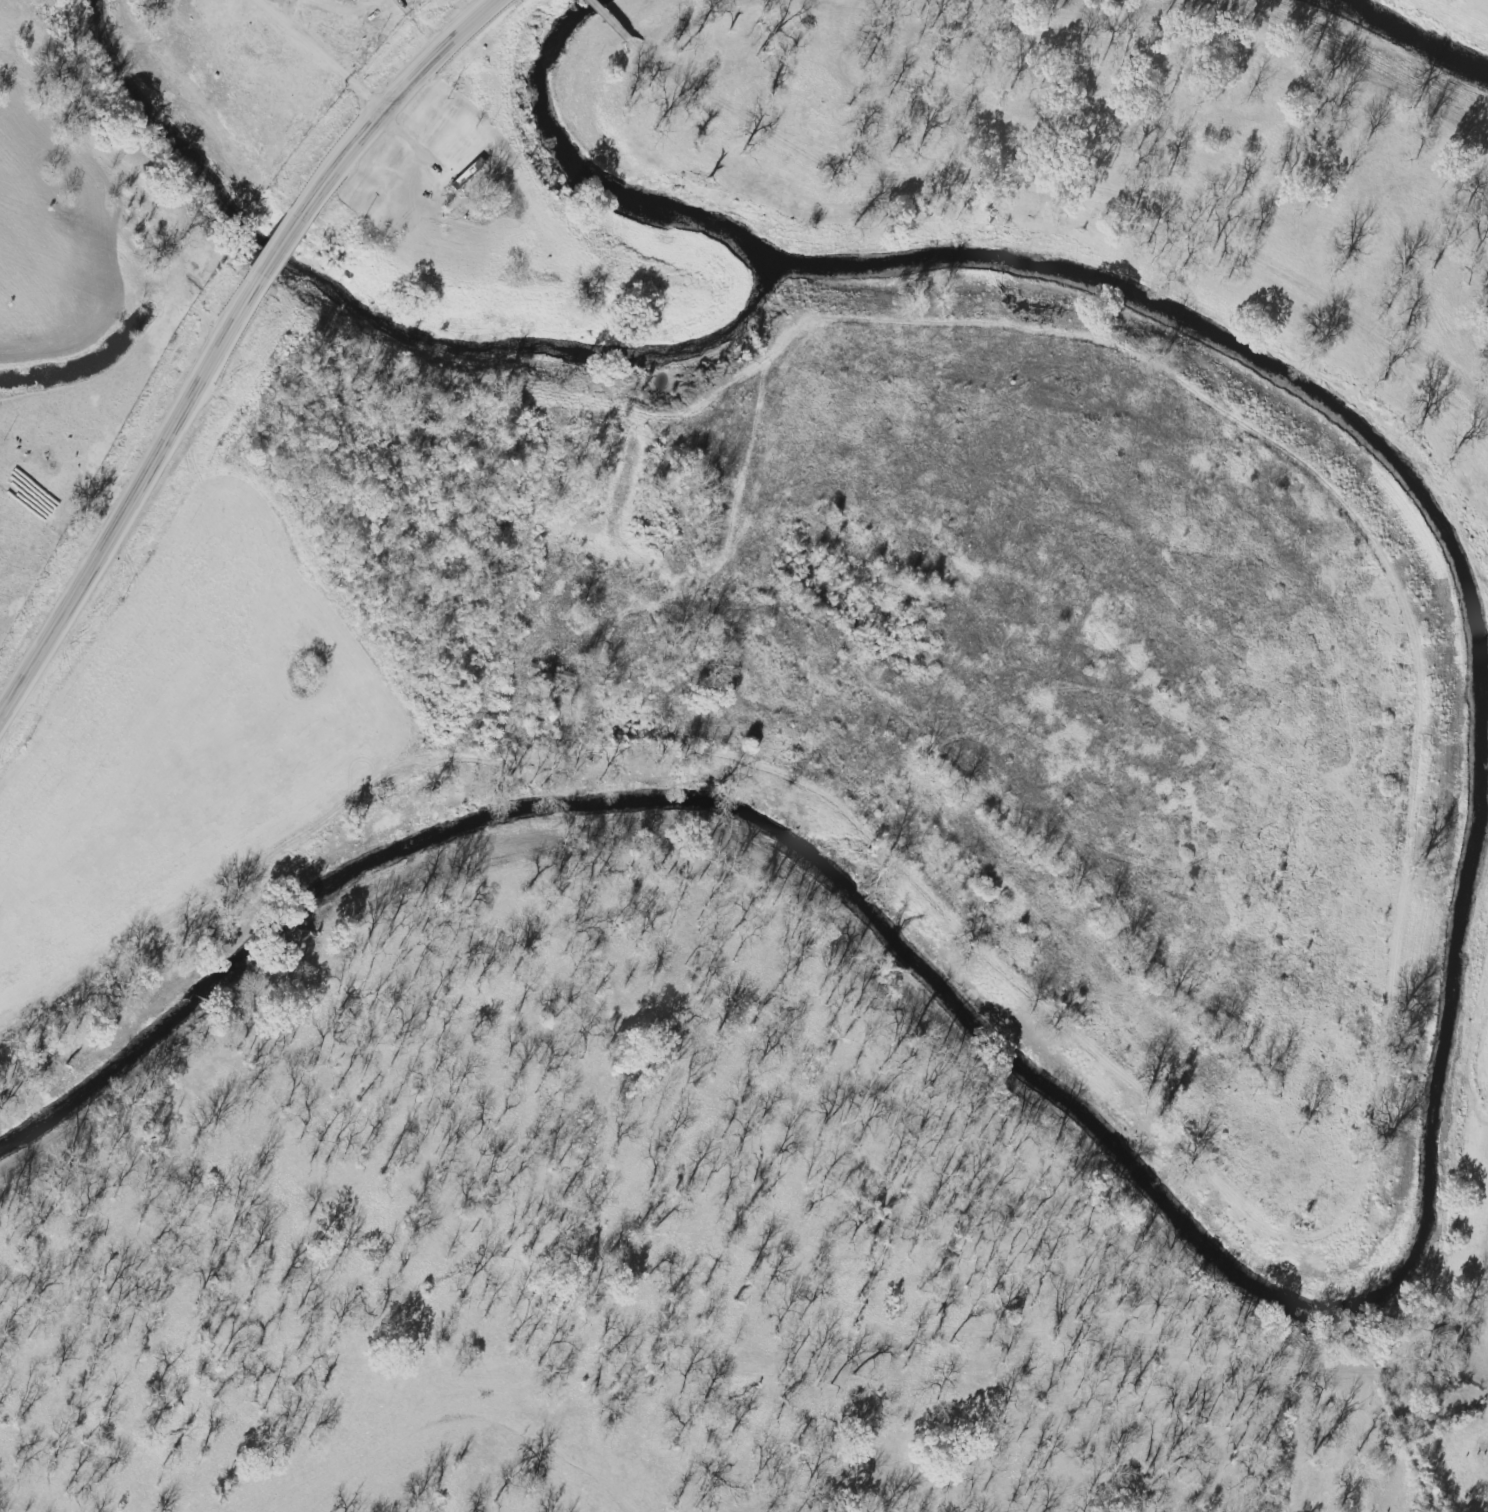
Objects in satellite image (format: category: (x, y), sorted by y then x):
road: (600, 7)
river: (1408, 37)
road: (325, 48)
road: (386, 93)
river: (180, 138)
building: (469, 175)
road: (868, 237)
road: (272, 243)
river: (544, 344)
road: (124, 492)
road: (546, 496)
building: (551, 673)
building: (545, 721)
road: (357, 808)
river: (1432, 1173)

